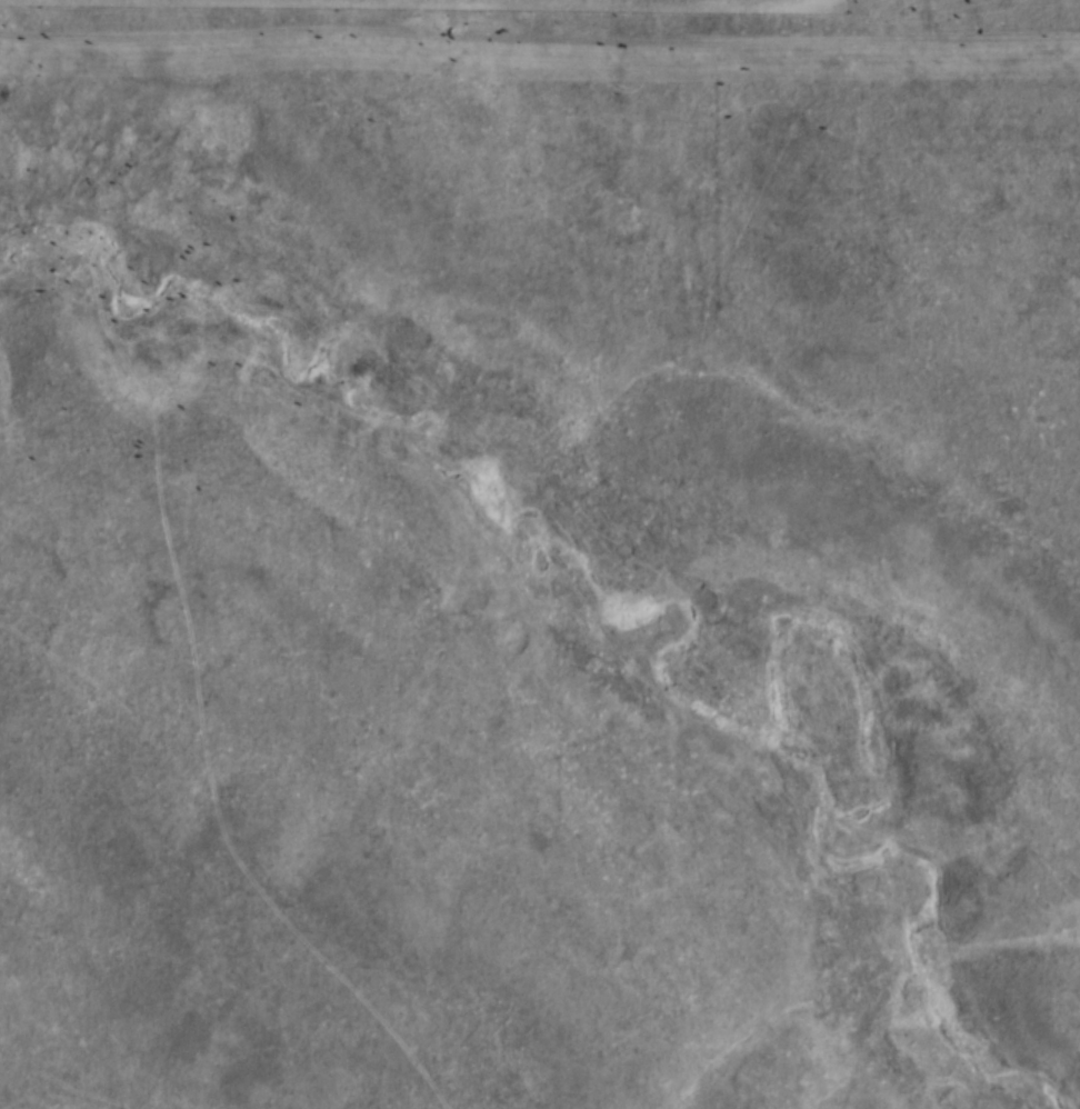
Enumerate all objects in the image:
road: (590, 41)
road: (63, 128)

